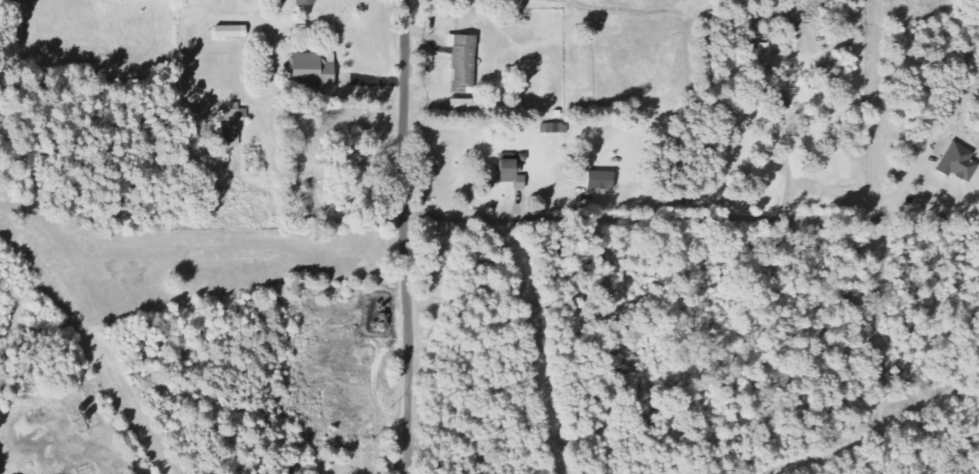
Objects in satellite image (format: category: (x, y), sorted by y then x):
building: (302, 2)
building: (460, 59)
building: (309, 69)
building: (777, 93)
building: (228, 121)
building: (955, 162)
building: (507, 173)
building: (596, 180)
road: (630, 218)
road: (406, 237)

